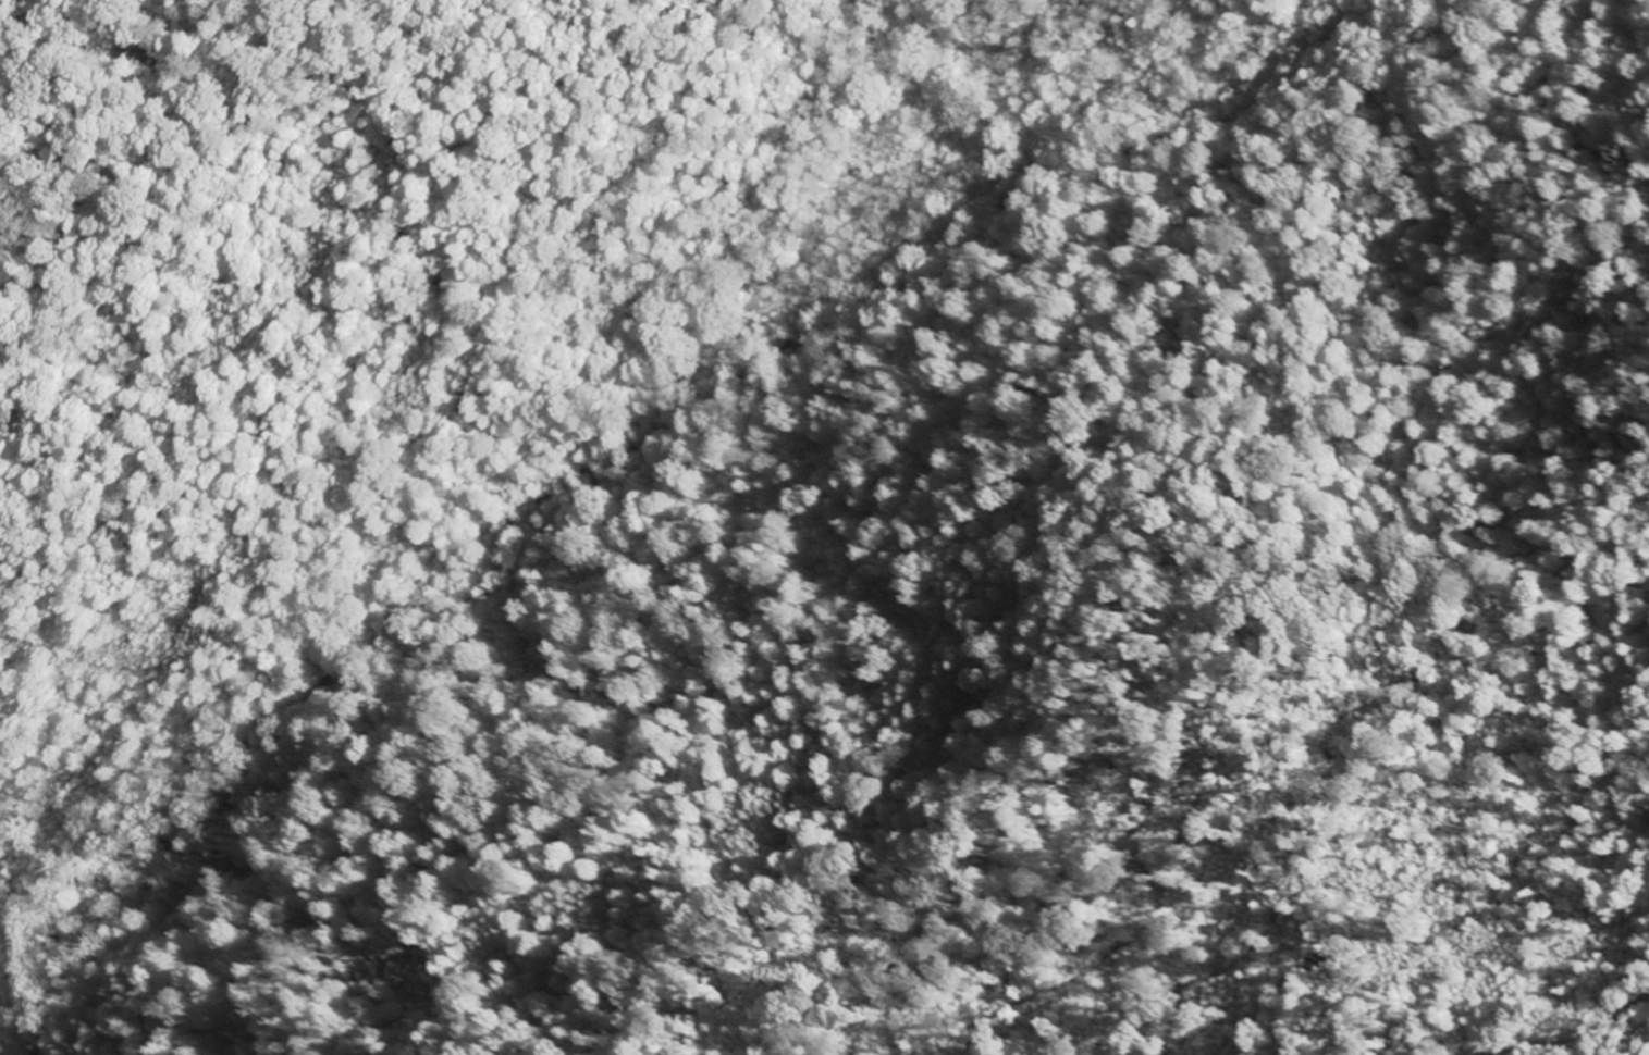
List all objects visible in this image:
road: (1326, 1004)

